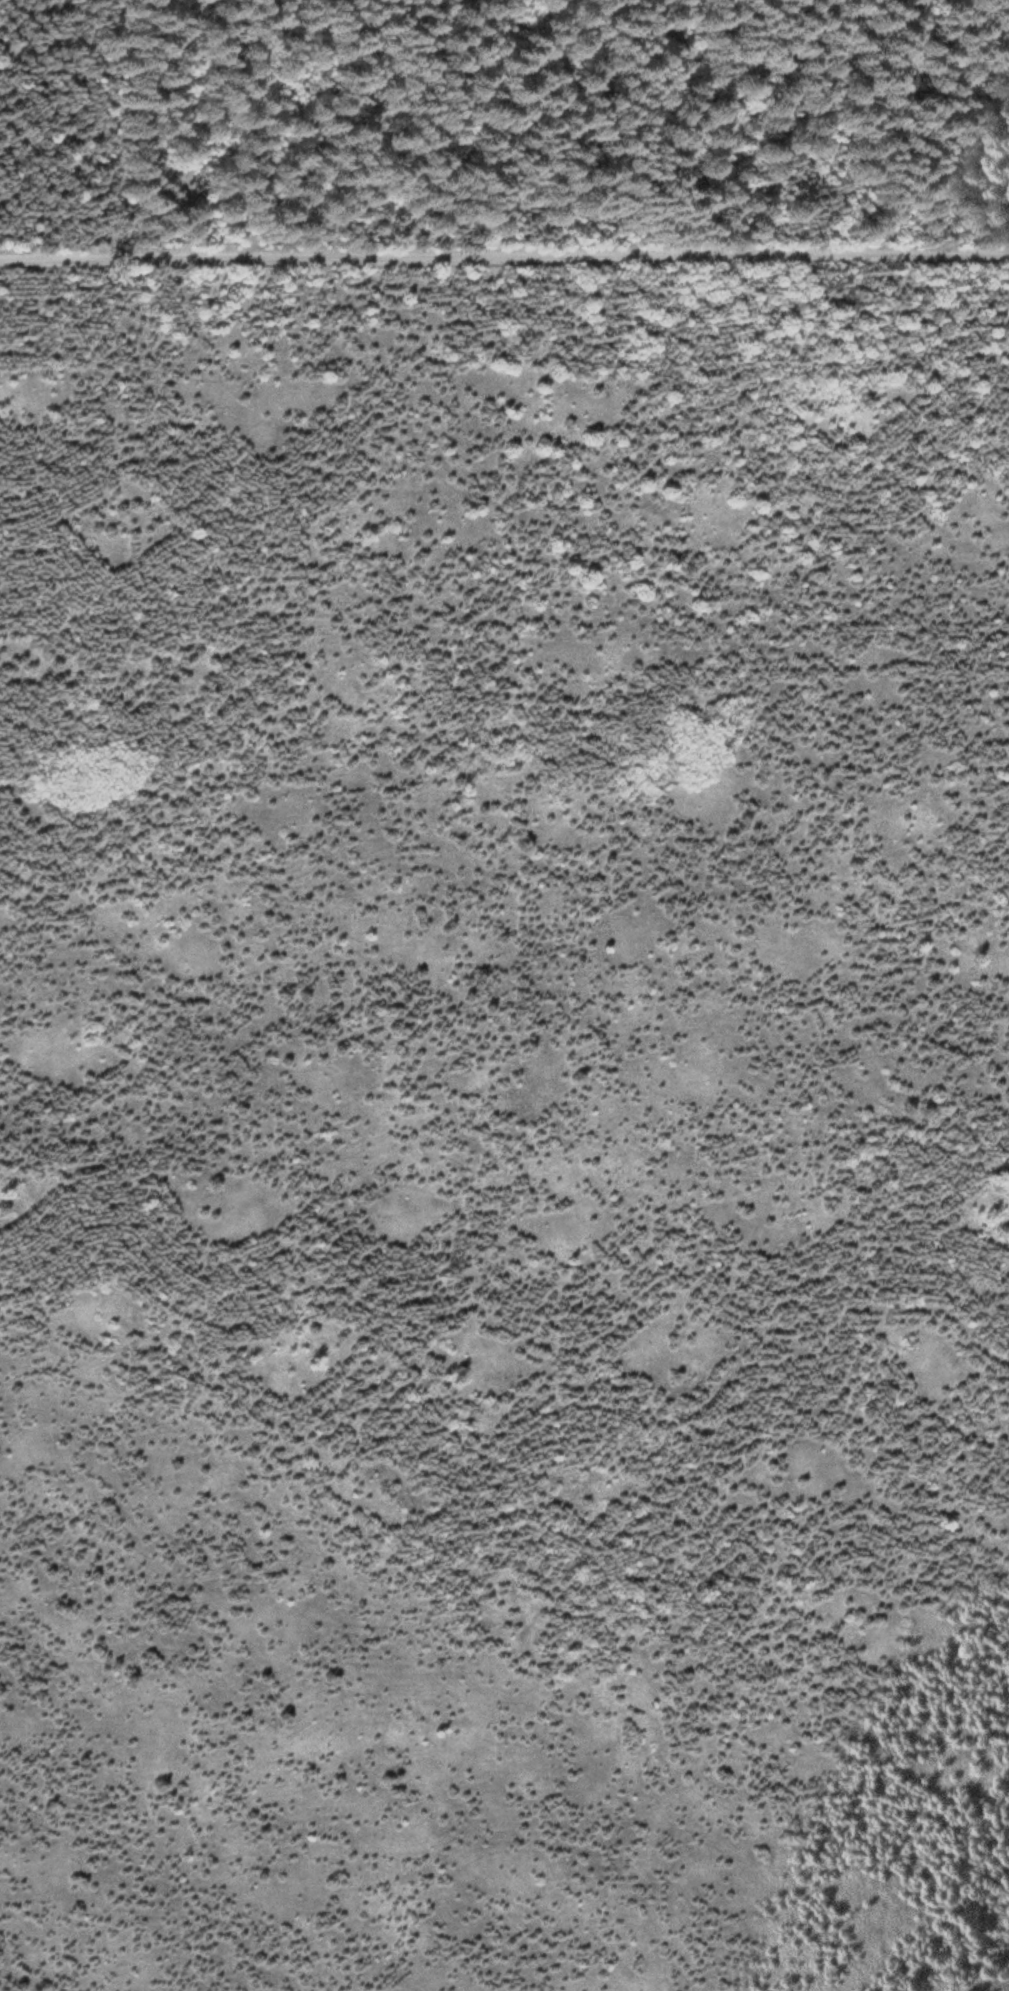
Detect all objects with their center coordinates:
road: (504, 260)

